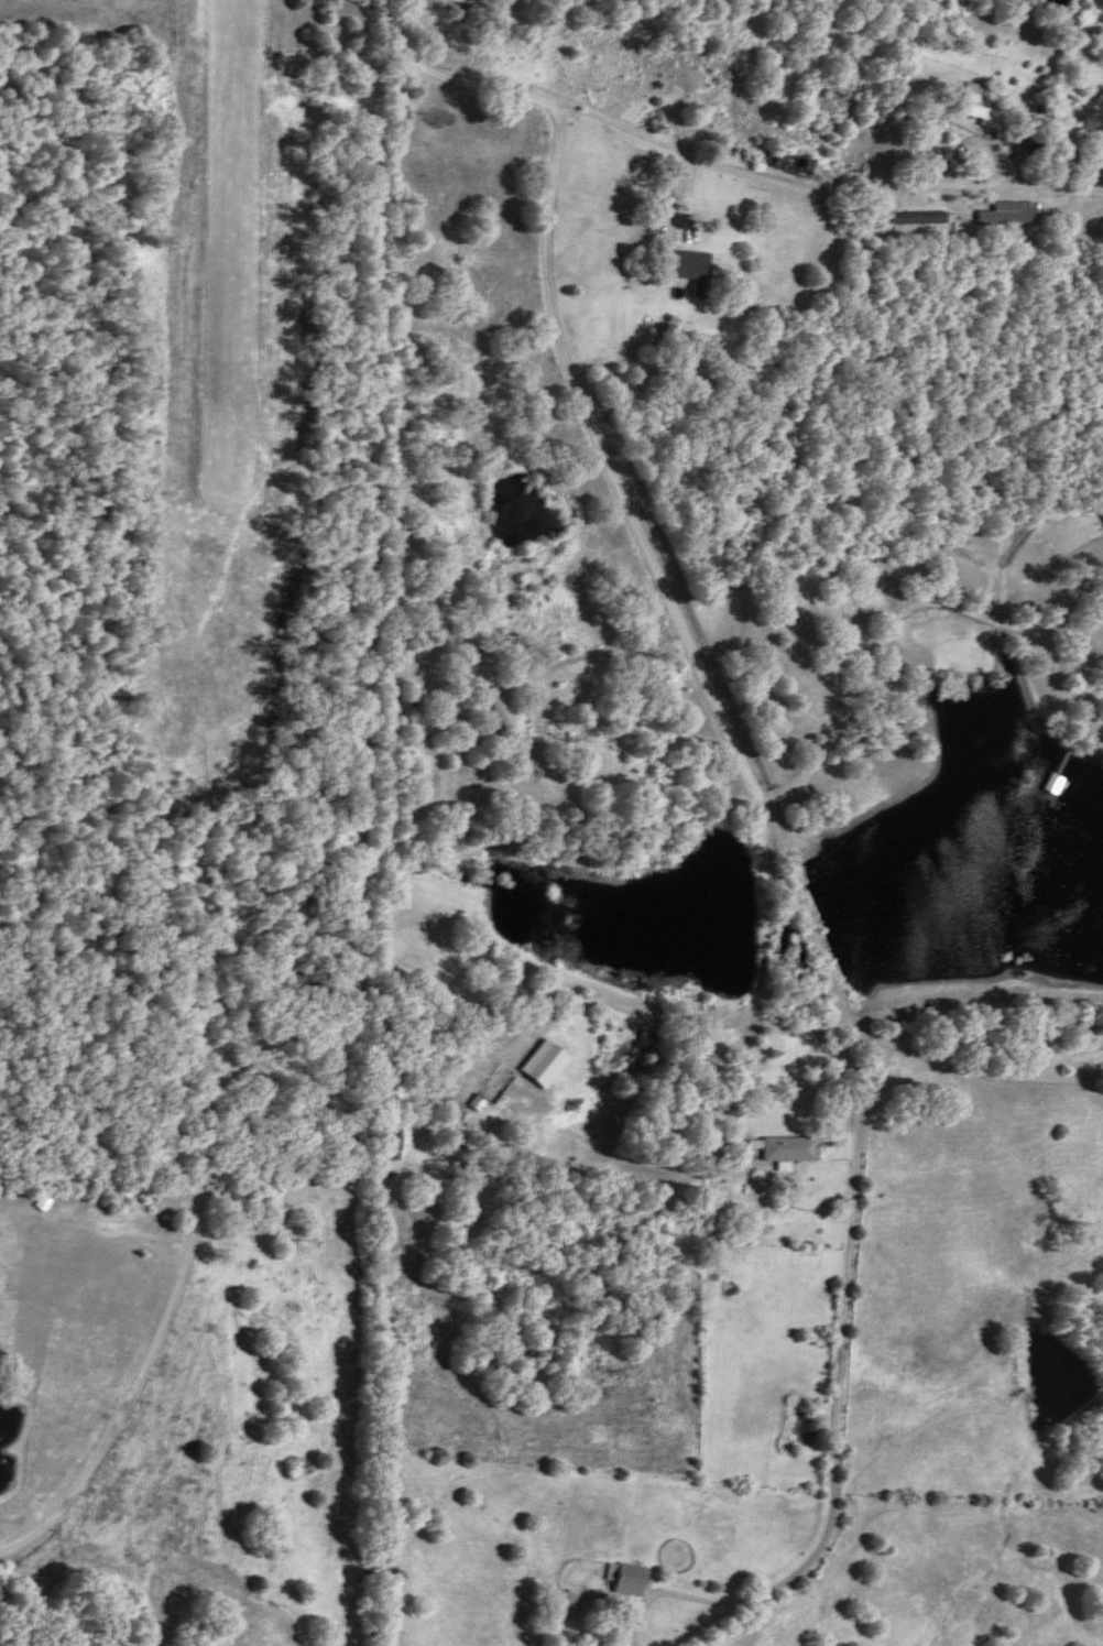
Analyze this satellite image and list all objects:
road: (455, 77)
building: (967, 107)
road: (827, 186)
building: (1002, 212)
building: (690, 270)
road: (374, 494)
road: (663, 584)
road: (905, 608)
road: (574, 660)
building: (498, 711)
road: (971, 981)
road: (758, 1003)
road: (862, 1045)
road: (973, 1079)
road: (736, 1082)
building: (492, 1086)
building: (448, 1115)
building: (391, 1144)
building: (784, 1148)
road: (184, 1249)
road: (842, 1352)
building: (625, 1580)
road: (705, 1601)
building: (566, 1604)

